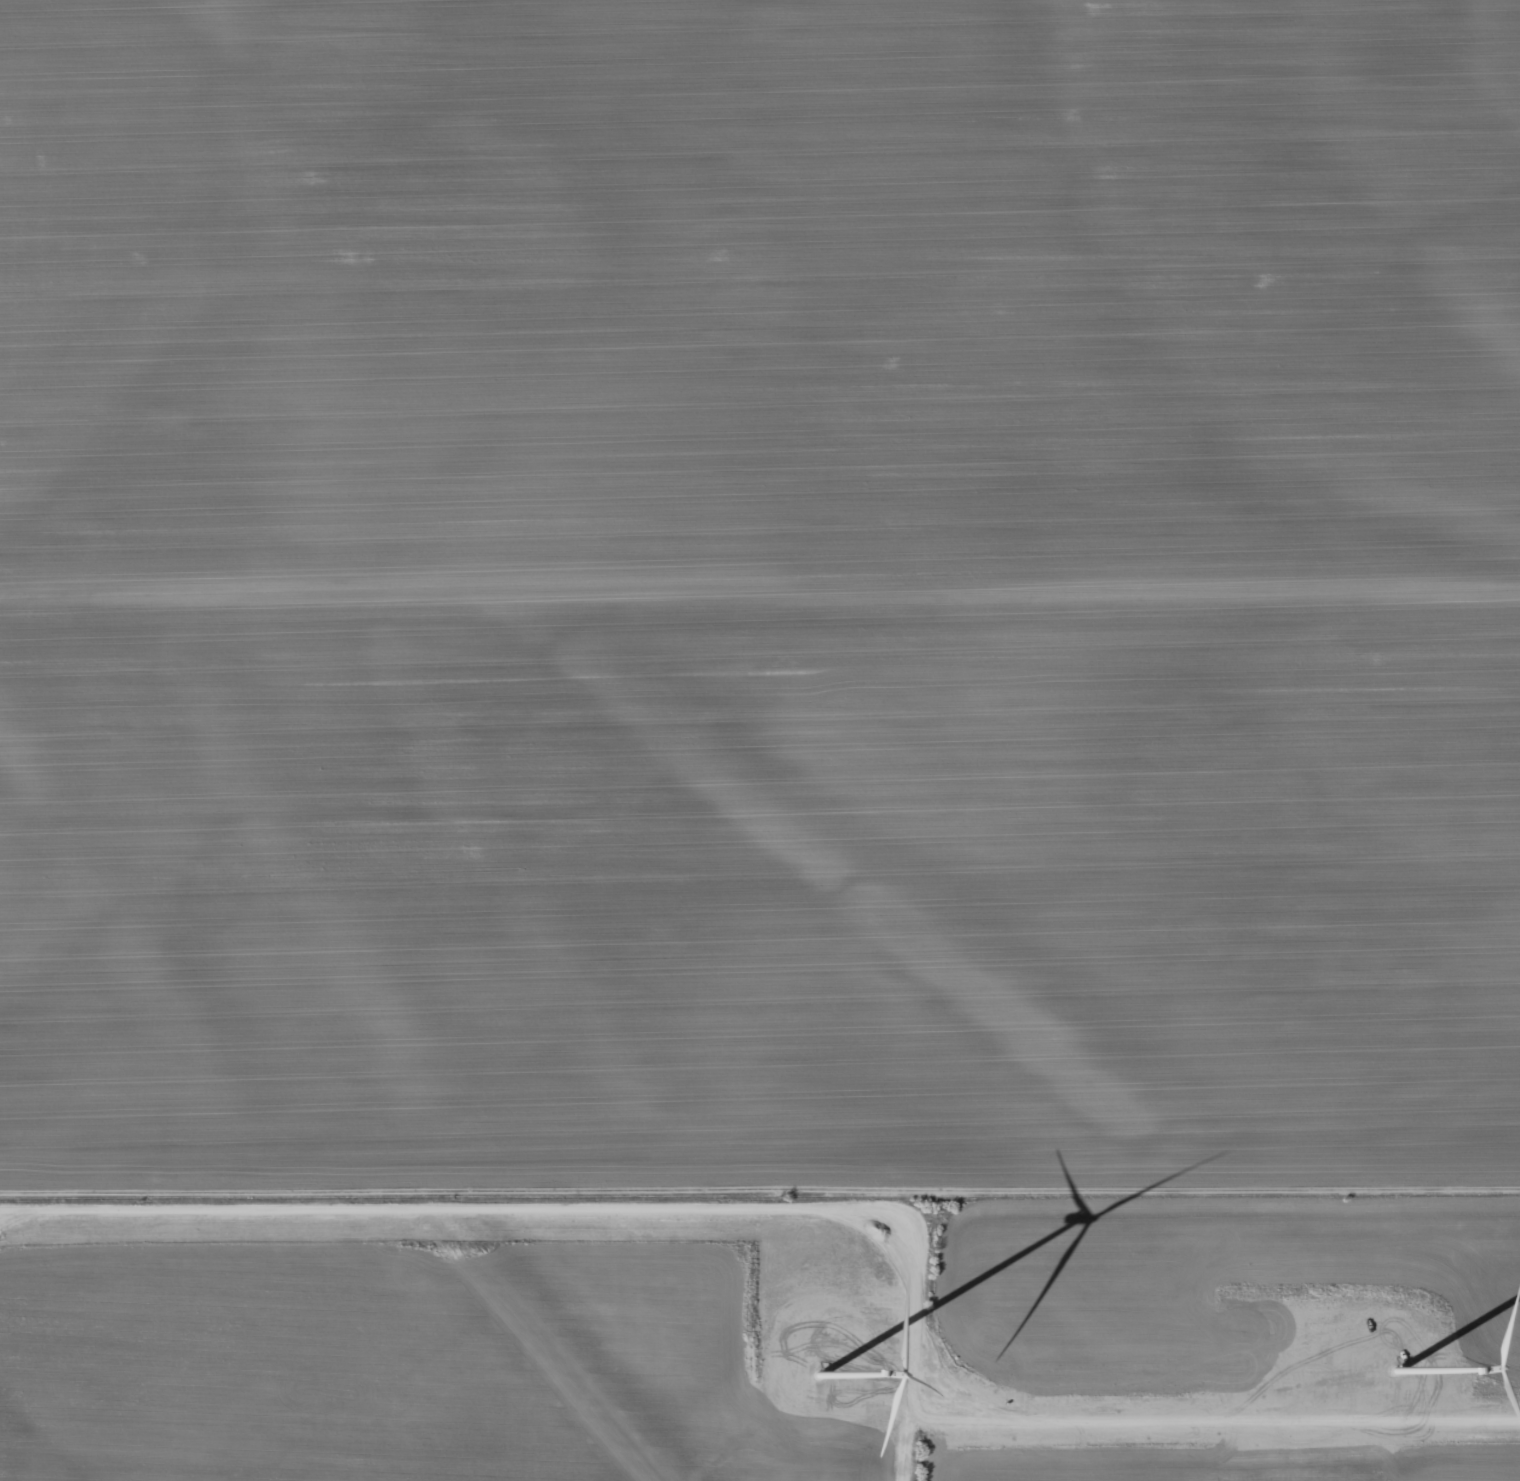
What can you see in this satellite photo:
road: (760, 1195)
wind turbine: (824, 1368)
wind turbine: (1397, 1372)

